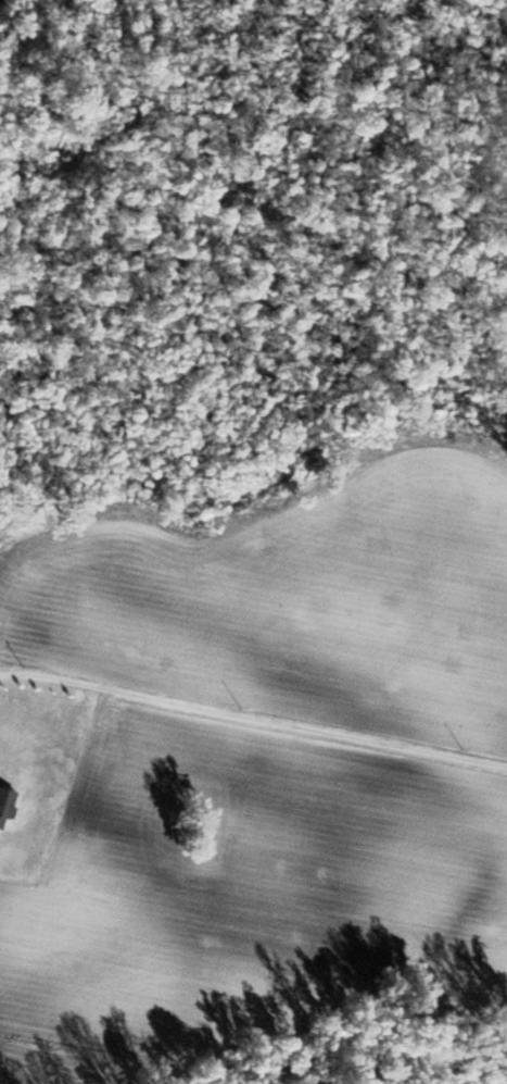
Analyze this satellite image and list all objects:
building: (5, 807)

